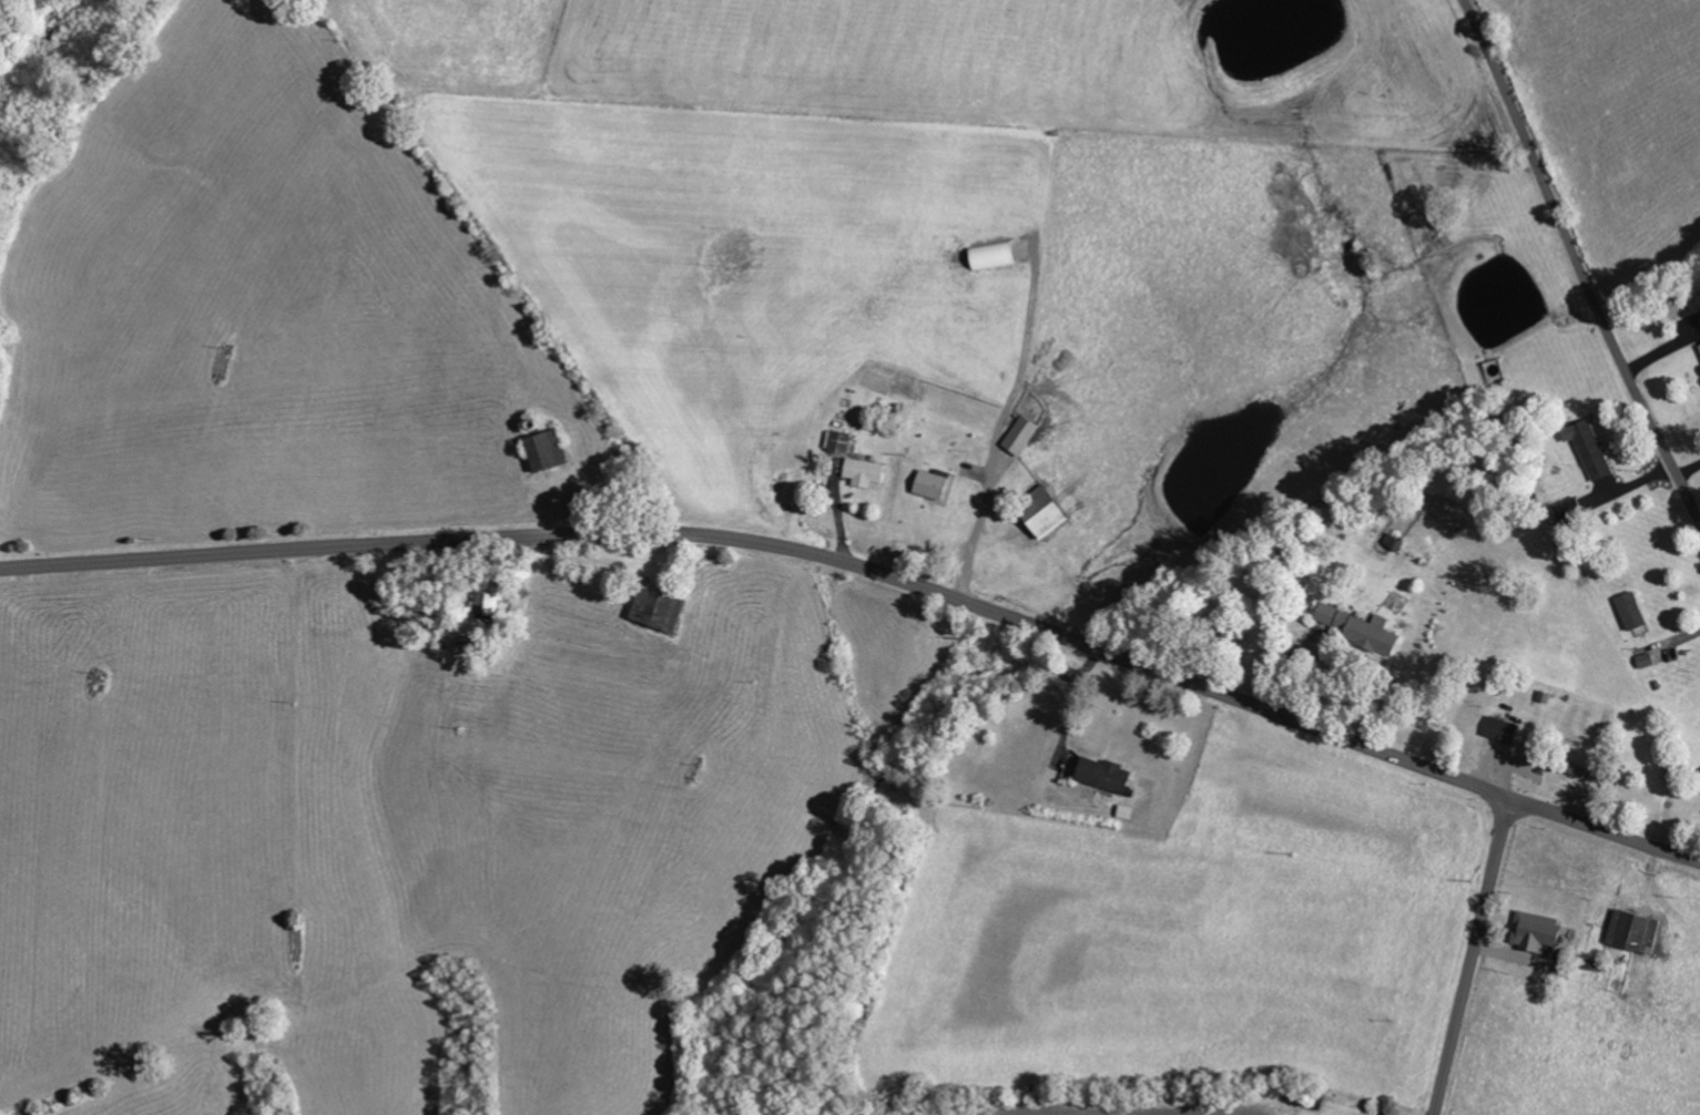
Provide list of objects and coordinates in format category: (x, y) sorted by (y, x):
road: (1576, 267)
building: (1020, 434)
building: (836, 440)
building: (1590, 449)
building: (547, 451)
building: (863, 471)
building: (932, 483)
building: (1571, 510)
building: (1042, 511)
road: (872, 571)
building: (486, 606)
building: (659, 608)
building: (1632, 611)
building: (1330, 615)
building: (1373, 634)
building: (1503, 729)
building: (1106, 775)
building: (1633, 929)
building: (1536, 930)
road: (1472, 957)

